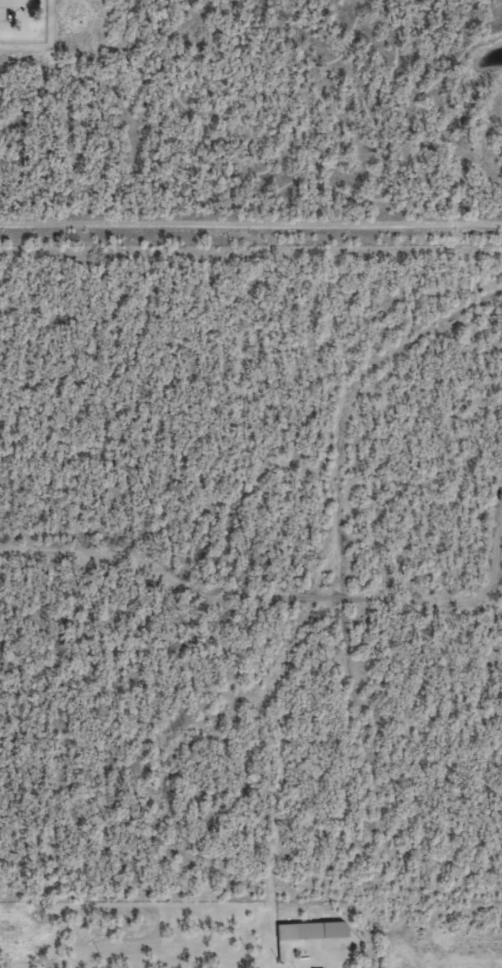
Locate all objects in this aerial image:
road: (16, 1)
parking lot: (6, 11)
road: (104, 22)
road: (270, 198)
road: (251, 226)
building: (312, 931)

